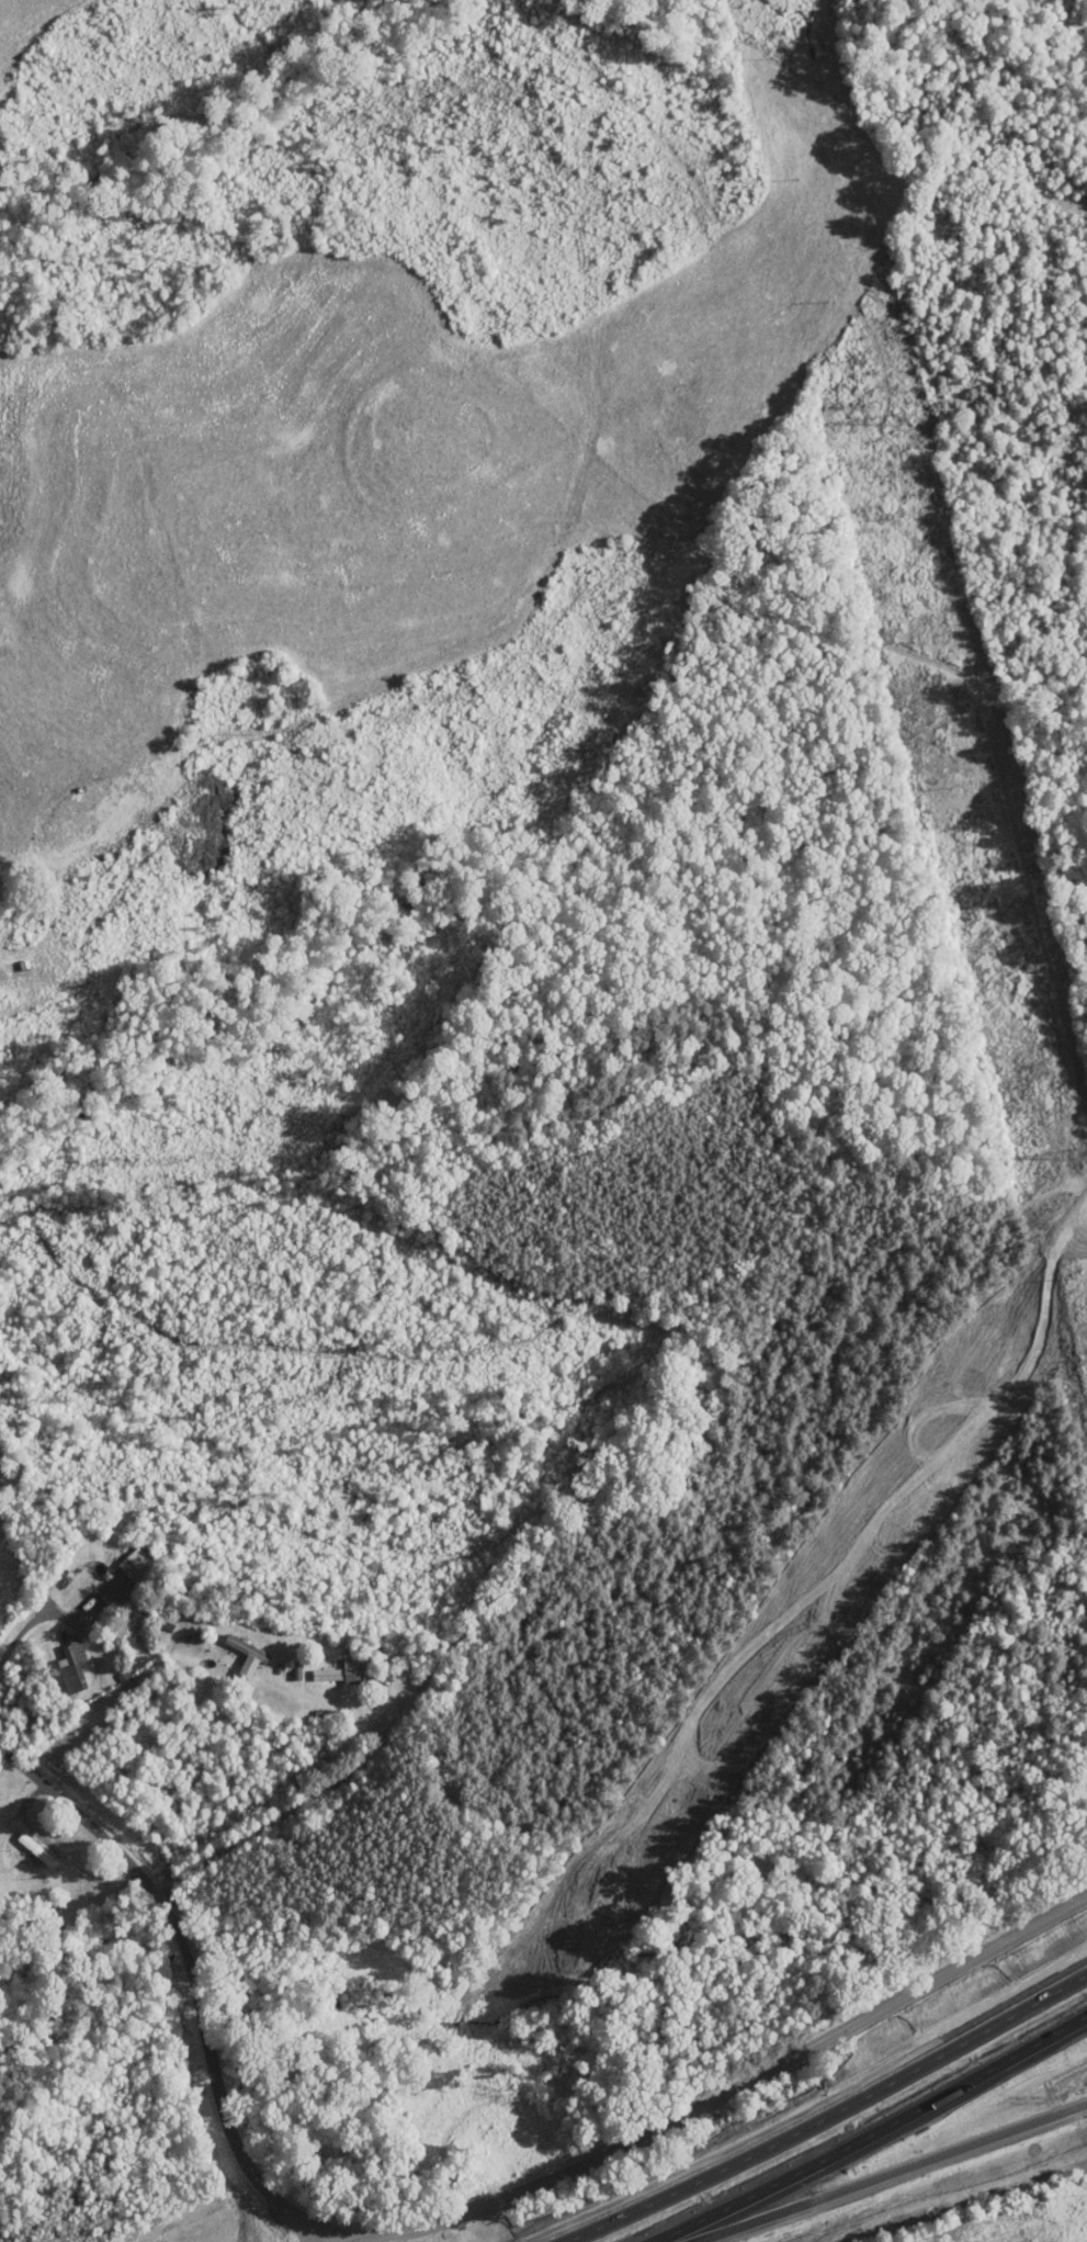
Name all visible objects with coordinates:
power tower: (897, 420)
power tower: (1082, 1153)
building: (138, 1568)
road: (33, 1621)
building: (247, 1649)
building: (75, 1667)
building: (340, 1674)
road: (690, 1782)
road: (315, 1799)
building: (37, 1852)
road: (184, 1950)
road: (819, 2116)
road: (875, 2138)
road: (890, 2172)

